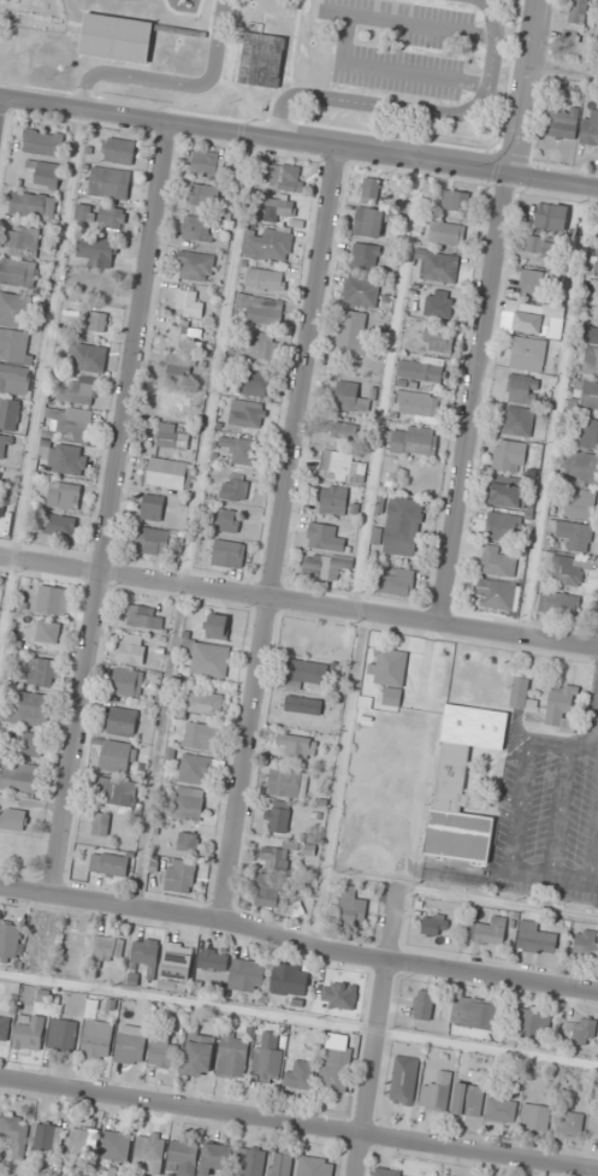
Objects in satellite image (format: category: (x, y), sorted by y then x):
building: (575, 20)
building: (116, 39)
building: (260, 59)
road: (171, 82)
road: (522, 88)
road: (420, 110)
building: (562, 123)
building: (591, 129)
building: (43, 142)
road: (298, 142)
building: (118, 150)
building: (206, 165)
building: (42, 173)
building: (283, 177)
building: (109, 183)
building: (369, 189)
building: (202, 196)
building: (455, 201)
building: (32, 205)
building: (279, 209)
building: (85, 213)
building: (550, 217)
building: (111, 219)
building: (196, 229)
building: (446, 232)
building: (23, 238)
building: (267, 246)
building: (543, 248)
building: (95, 252)
building: (365, 256)
building: (597, 261)
building: (195, 266)
building: (438, 266)
building: (17, 276)
building: (266, 280)
building: (532, 284)
building: (360, 291)
building: (439, 303)
building: (188, 305)
building: (16, 309)
building: (261, 311)
building: (99, 321)
building: (535, 324)
building: (353, 332)
building: (591, 333)
building: (180, 337)
building: (439, 339)
building: (12, 345)
building: (261, 345)
building: (527, 354)
building: (89, 357)
building: (591, 360)
building: (179, 368)
building: (421, 370)
building: (14, 380)
building: (256, 383)
building: (523, 389)
building: (78, 391)
building: (590, 395)
building: (349, 396)
road: (475, 400)
building: (173, 406)
building: (418, 406)
building: (11, 415)
building: (248, 416)
building: (517, 421)
building: (70, 422)
building: (342, 427)
building: (586, 432)
building: (171, 437)
building: (412, 442)
building: (4, 447)
building: (241, 450)
building: (509, 455)
building: (69, 459)
building: (341, 467)
building: (581, 467)
building: (168, 473)
building: (0, 481)
building: (237, 490)
building: (65, 495)
building: (505, 495)
building: (333, 498)
building: (579, 503)
building: (153, 507)
road: (111, 508)
building: (229, 520)
building: (61, 524)
building: (402, 526)
building: (503, 527)
road: (280, 534)
building: (574, 536)
building: (324, 538)
building: (159, 542)
building: (229, 554)
building: (498, 561)
building: (325, 566)
building: (567, 571)
building: (496, 593)
building: (53, 598)
road: (298, 601)
building: (558, 603)
building: (142, 616)
building: (217, 625)
building: (48, 632)
building: (132, 649)
building: (208, 658)
building: (390, 667)
building: (41, 672)
building: (309, 673)
building: (128, 682)
building: (521, 692)
building: (203, 703)
building: (304, 705)
building: (561, 707)
building: (32, 708)
building: (123, 721)
building: (201, 735)
building: (30, 744)
building: (295, 745)
building: (119, 756)
building: (196, 769)
building: (19, 778)
building: (288, 782)
building: (118, 796)
building: (189, 806)
building: (456, 811)
building: (279, 816)
parking lot: (545, 817)
building: (13, 819)
building: (101, 825)
road: (590, 829)
building: (189, 841)
building: (109, 864)
building: (180, 876)
building: (267, 892)
road: (108, 903)
building: (353, 908)
building: (434, 924)
road: (251, 930)
building: (489, 932)
building: (535, 938)
building: (10, 941)
building: (78, 945)
building: (586, 945)
building: (109, 949)
building: (144, 952)
building: (213, 959)
building: (178, 961)
road: (442, 969)
building: (247, 975)
building: (290, 980)
building: (337, 986)
building: (424, 1004)
building: (474, 1014)
building: (535, 1020)
building: (4, 1028)
building: (580, 1029)
road: (378, 1030)
building: (29, 1033)
building: (63, 1034)
building: (96, 1042)
building: (131, 1044)
building: (164, 1051)
building: (199, 1053)
building: (233, 1054)
building: (267, 1065)
building: (334, 1068)
building: (300, 1074)
building: (404, 1080)
building: (437, 1092)
building: (468, 1100)
building: (501, 1110)
building: (535, 1116)
building: (570, 1123)
road: (298, 1125)
building: (14, 1134)
building: (49, 1137)
building: (83, 1139)
building: (116, 1146)
building: (152, 1150)
building: (184, 1157)
building: (217, 1157)
building: (251, 1162)
building: (282, 1163)
building: (315, 1166)
building: (392, 1172)

